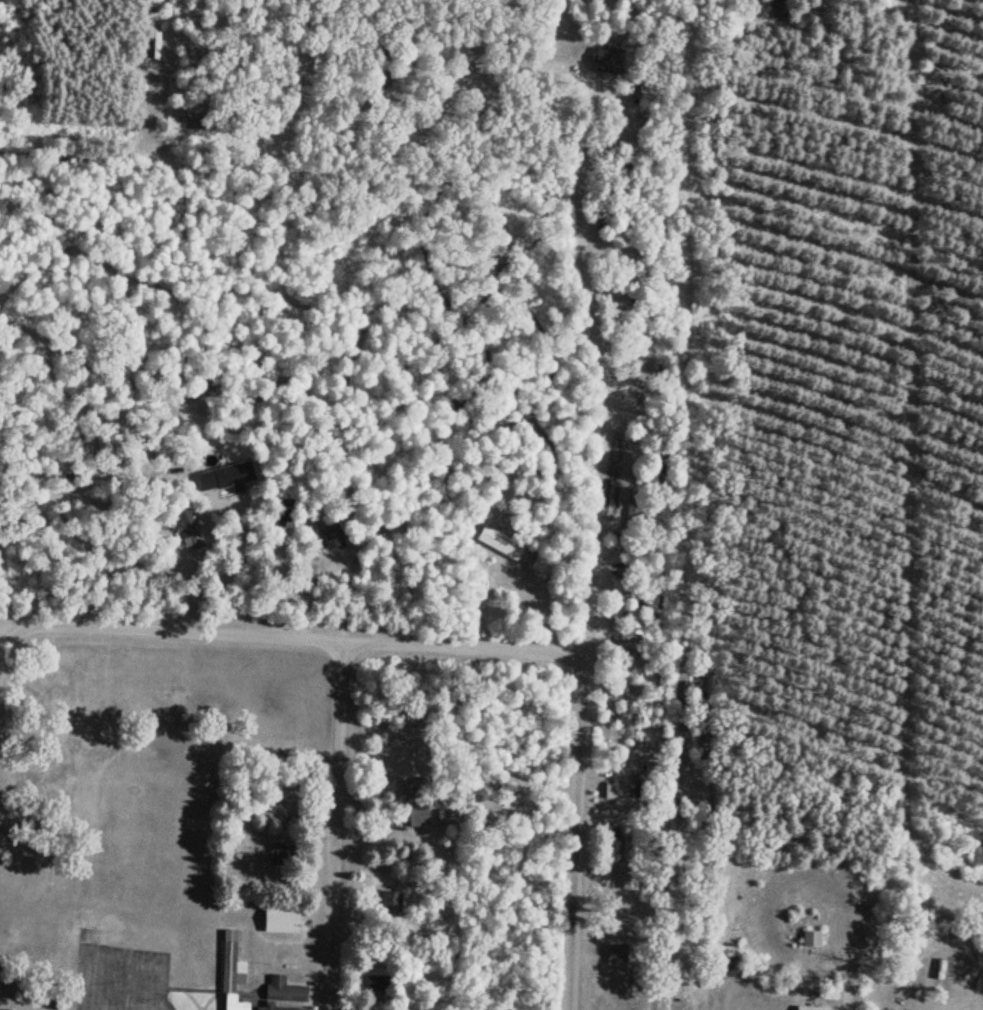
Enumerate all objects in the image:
building: (156, 38)
building: (478, 57)
building: (607, 57)
building: (386, 63)
road: (585, 77)
building: (646, 91)
road: (410, 100)
road: (448, 104)
road: (149, 115)
building: (192, 116)
road: (65, 151)
road: (277, 166)
building: (635, 281)
road: (593, 315)
road: (913, 462)
building: (634, 507)
building: (284, 515)
building: (499, 540)
building: (539, 561)
building: (615, 601)
building: (636, 615)
road: (3, 636)
road: (293, 639)
road: (678, 660)
building: (413, 716)
building: (613, 788)
road: (338, 826)
road: (578, 837)
building: (629, 859)
building: (390, 898)
building: (626, 915)
building: (279, 917)
building: (810, 937)
building: (616, 951)
building: (230, 970)
building: (375, 986)
building: (281, 991)
building: (809, 1007)

